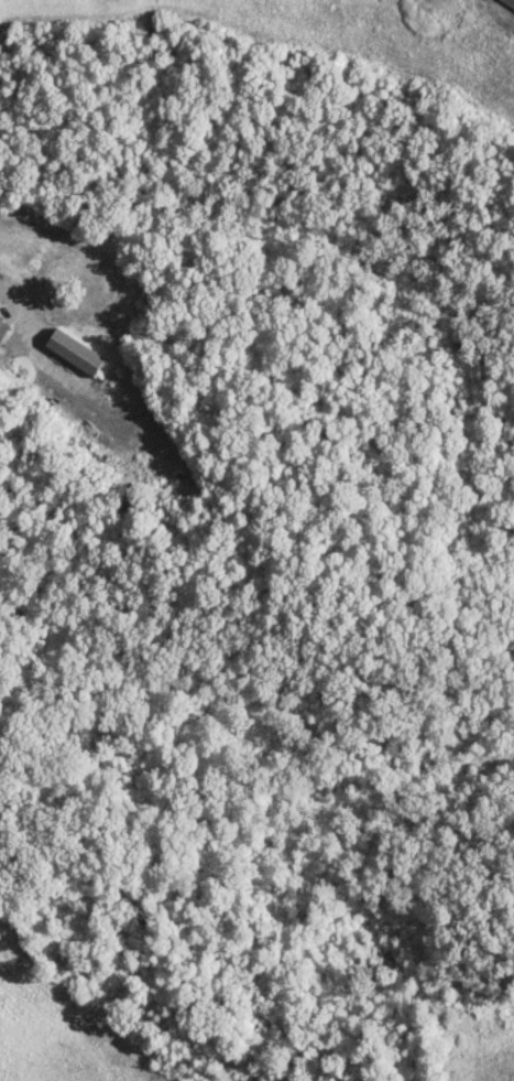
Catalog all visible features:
building: (506, 4)
building: (2, 326)

